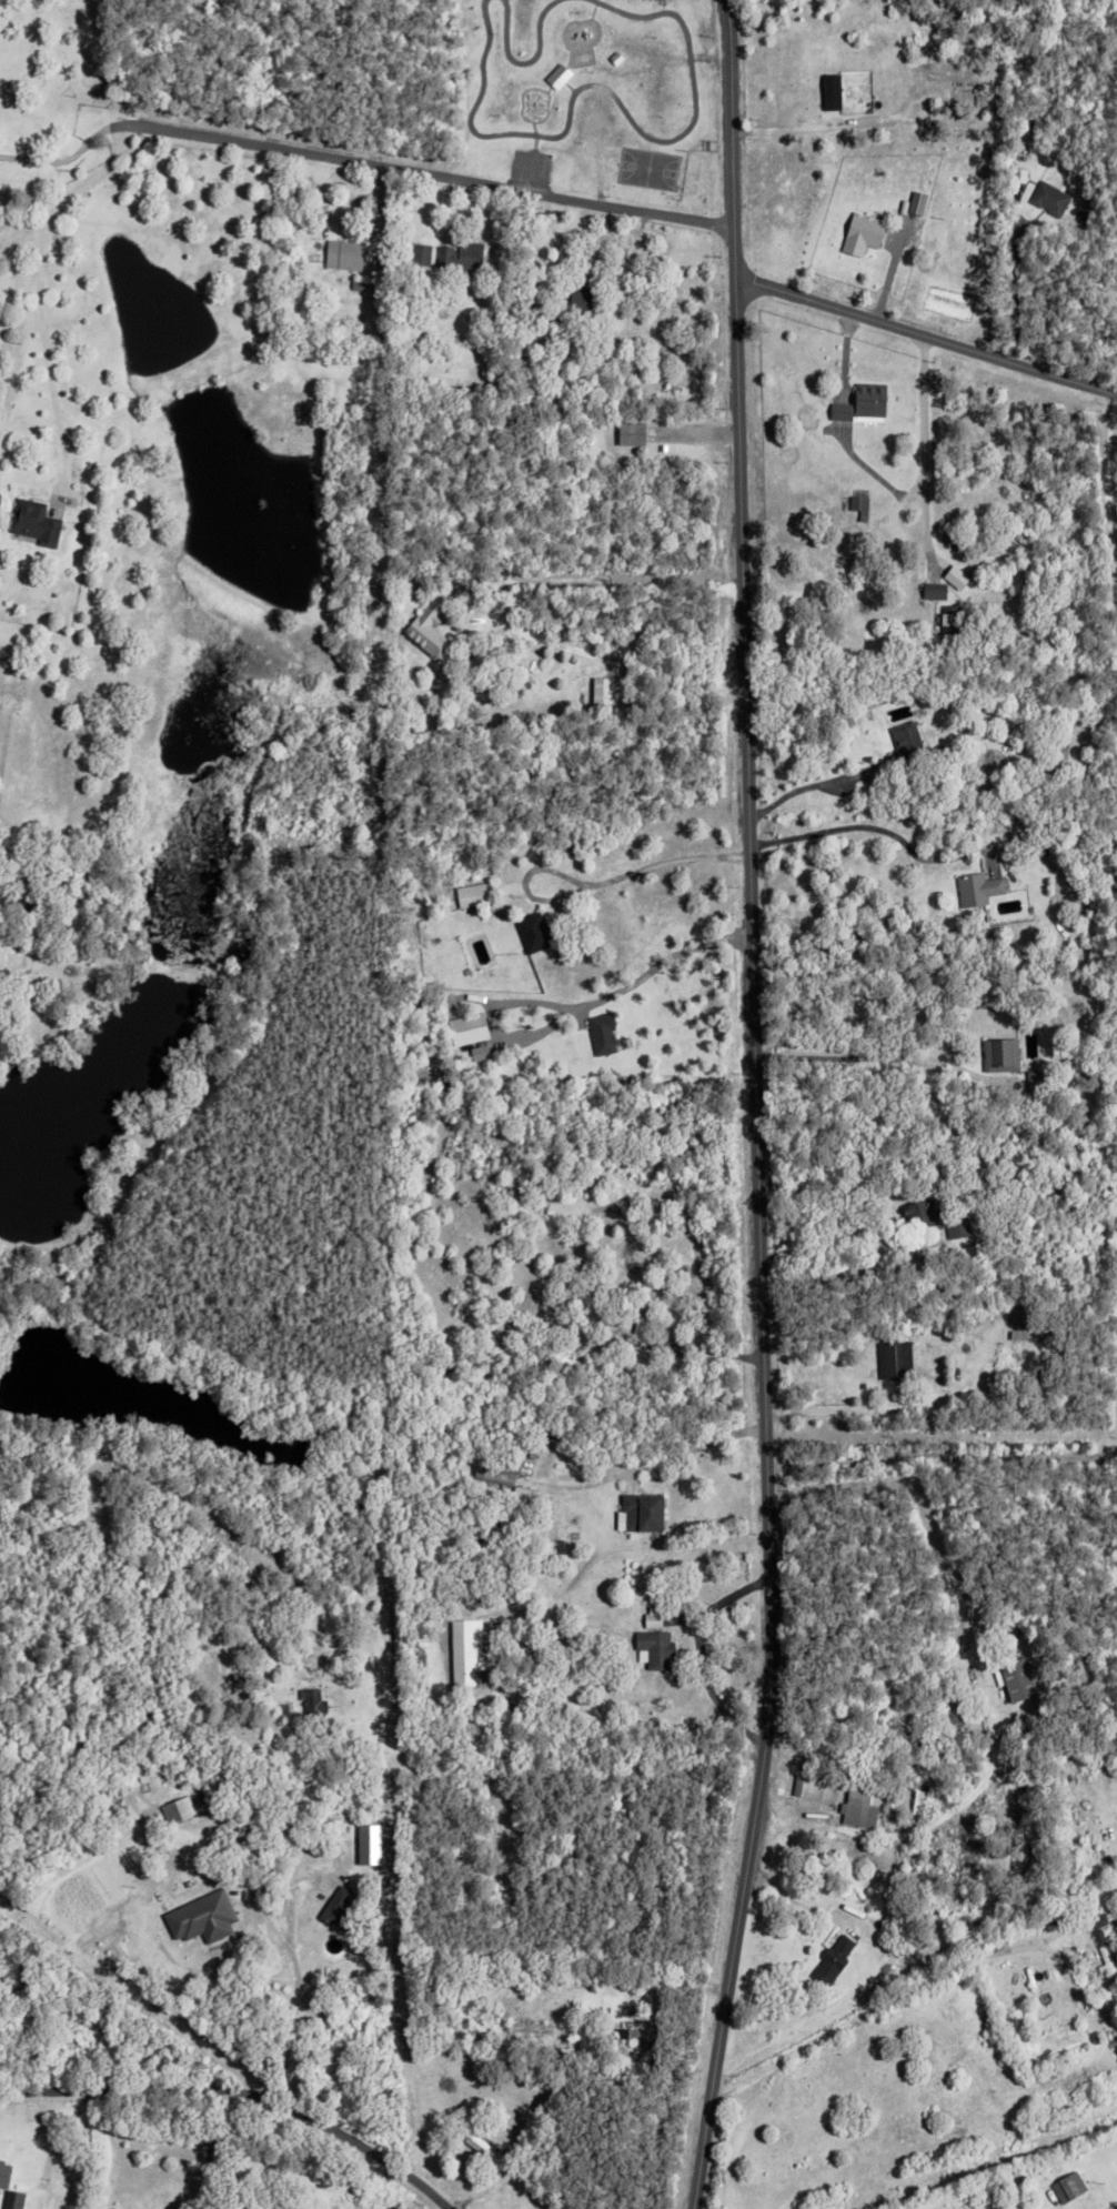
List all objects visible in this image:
road: (593, 11)
road: (592, 20)
road: (540, 29)
road: (505, 40)
building: (617, 58)
road: (560, 73)
building: (561, 77)
building: (958, 81)
building: (835, 91)
park: (588, 93)
road: (464, 106)
road: (520, 108)
road: (547, 112)
road: (836, 122)
road: (686, 127)
road: (68, 152)
park: (648, 168)
building: (1017, 172)
road: (431, 177)
building: (1047, 195)
building: (920, 202)
building: (1084, 214)
building: (866, 233)
building: (341, 252)
building: (459, 253)
road: (1013, 279)
building: (355, 282)
road: (41, 290)
building: (570, 301)
road: (926, 338)
building: (614, 369)
building: (867, 399)
building: (838, 409)
building: (630, 431)
road: (923, 445)
road: (1106, 478)
building: (857, 504)
building: (32, 520)
building: (959, 578)
building: (407, 584)
building: (932, 589)
road: (507, 593)
building: (430, 606)
building: (950, 617)
building: (605, 691)
building: (904, 743)
building: (1054, 752)
road: (808, 786)
road: (873, 827)
building: (36, 876)
road: (595, 885)
building: (975, 887)
building: (10, 893)
building: (469, 893)
building: (531, 930)
road: (31, 954)
road: (664, 960)
building: (473, 1030)
building: (606, 1034)
building: (483, 1053)
building: (998, 1054)
road: (857, 1056)
building: (1033, 1082)
road: (756, 1106)
building: (917, 1212)
road: (851, 1238)
building: (1014, 1307)
building: (637, 1321)
building: (1013, 1327)
road: (708, 1349)
building: (892, 1359)
road: (832, 1410)
road: (940, 1449)
road: (674, 1454)
building: (491, 1476)
building: (516, 1489)
road: (925, 1498)
building: (356, 1508)
building: (640, 1512)
building: (567, 1638)
building: (653, 1639)
road: (700, 1651)
building: (985, 1673)
building: (1022, 1679)
building: (254, 1701)
building: (313, 1706)
building: (281, 1711)
building: (947, 1717)
building: (273, 1745)
building: (813, 1784)
building: (859, 1799)
building: (913, 1799)
building: (1002, 1800)
building: (112, 1801)
building: (998, 1808)
building: (175, 1809)
building: (373, 1844)
building: (360, 1851)
building: (926, 1897)
building: (338, 1910)
building: (201, 1918)
road: (278, 1928)
building: (1105, 1951)
building: (829, 1961)
road: (632, 1981)
road: (879, 2005)
road: (296, 2006)
building: (526, 2025)
building: (628, 2030)
road: (239, 2092)
road: (53, 2146)
road: (107, 2147)
building: (484, 2147)
road: (214, 2149)
building: (0, 2157)
building: (2, 2171)
building: (1064, 2181)
building: (10, 2197)

